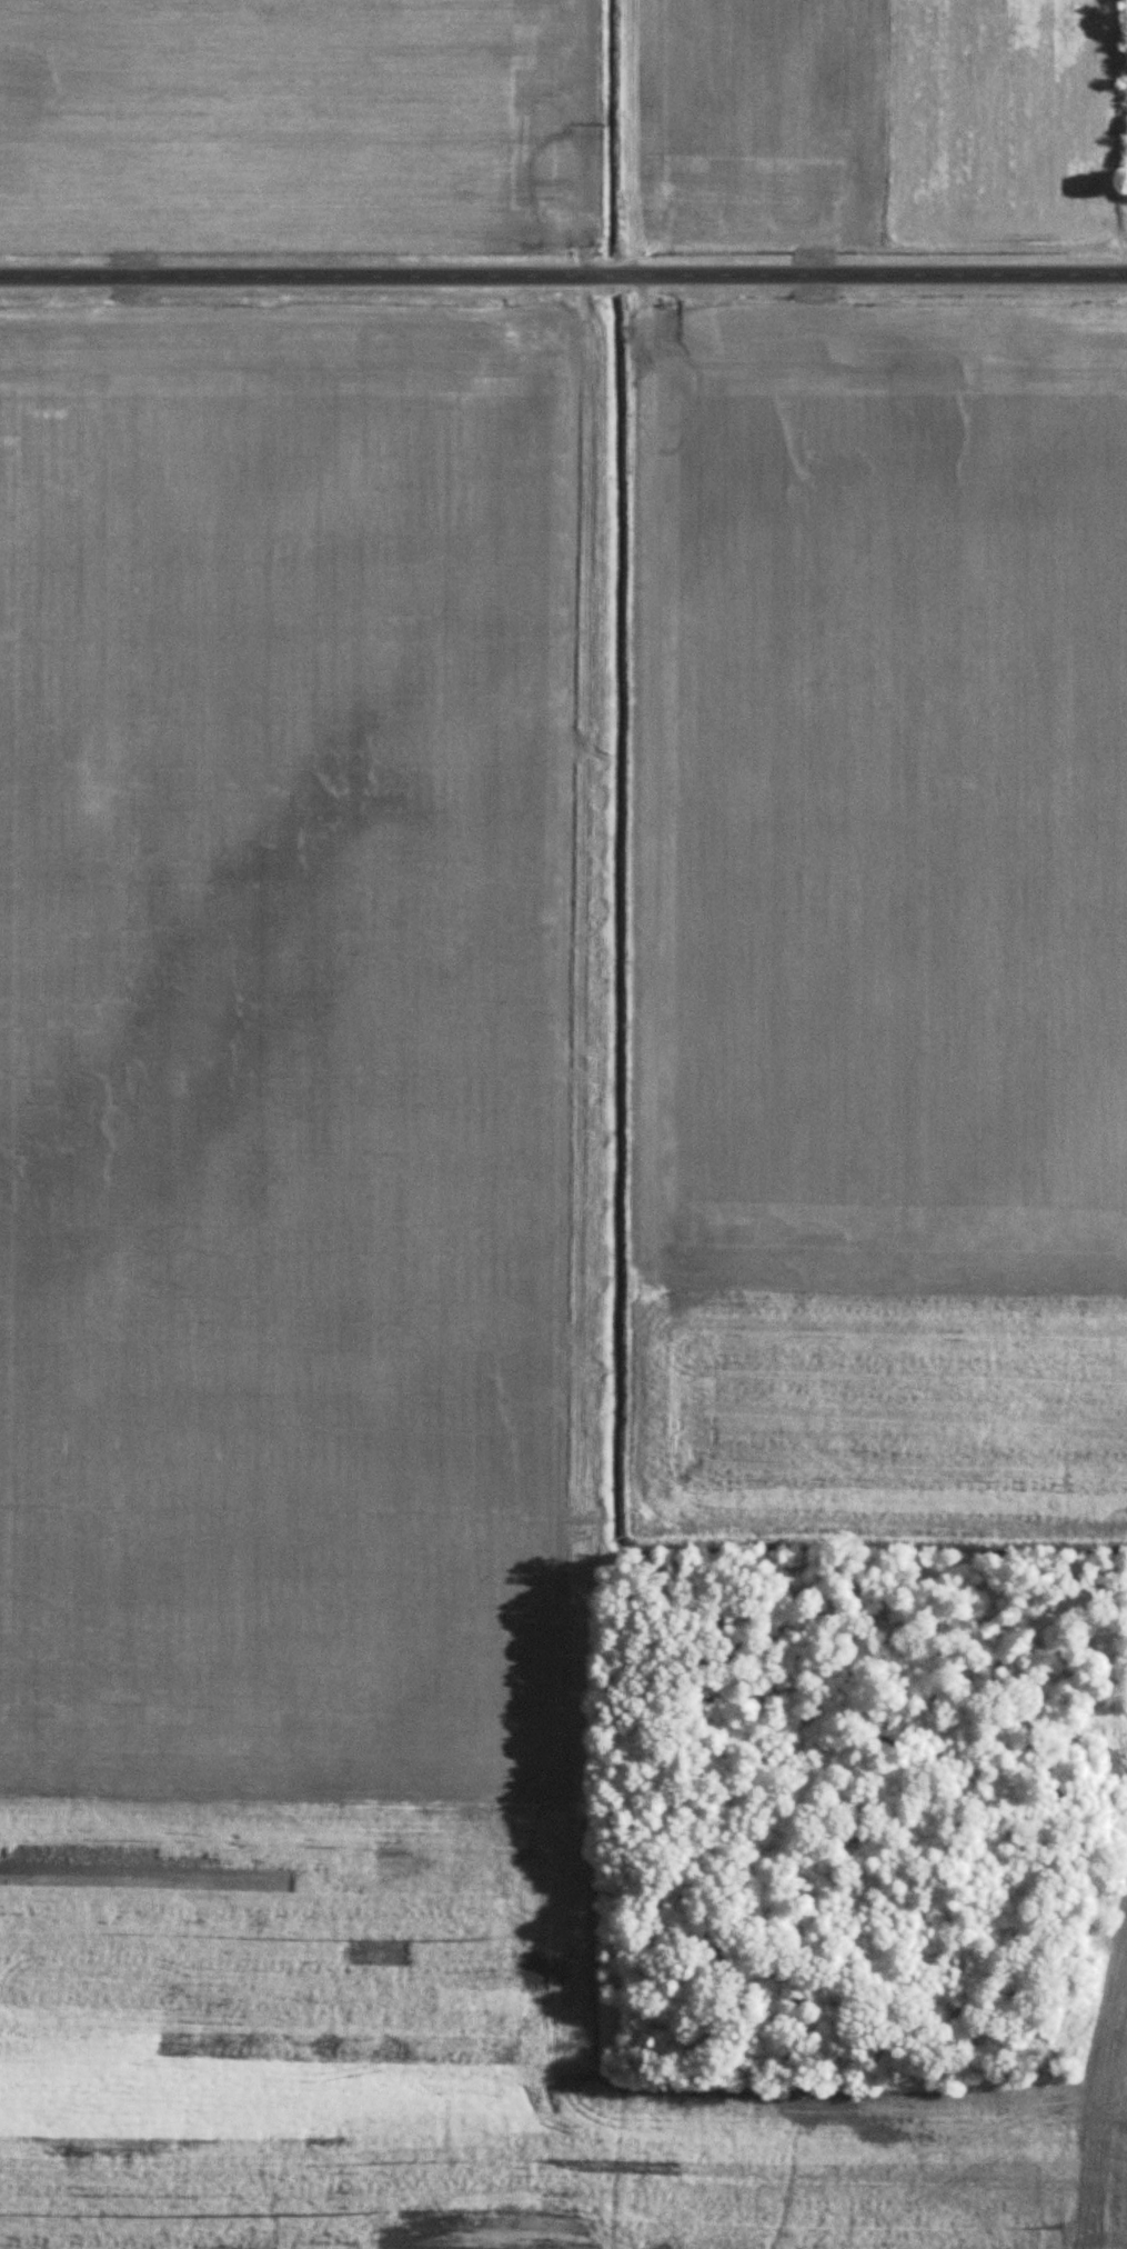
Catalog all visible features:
road: (563, 266)

